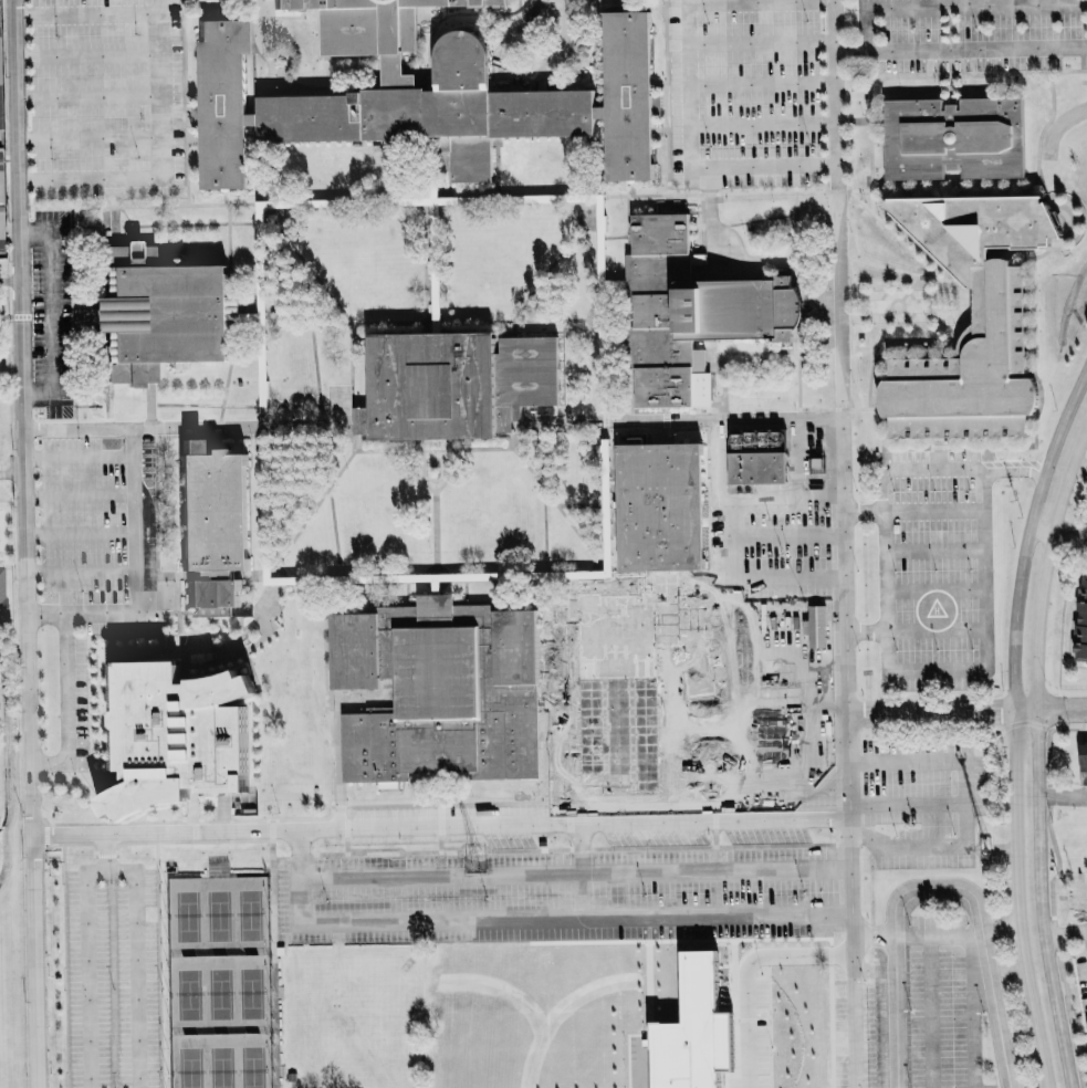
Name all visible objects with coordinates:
road: (741, 1)
road: (954, 4)
road: (86, 13)
parking lot: (972, 38)
road: (760, 41)
road: (961, 49)
road: (87, 55)
road: (835, 81)
building: (411, 94)
parking lot: (751, 95)
road: (88, 96)
parking lot: (105, 102)
building: (0, 106)
road: (90, 136)
building: (952, 137)
building: (0, 153)
road: (688, 157)
road: (161, 158)
building: (0, 187)
building: (1, 228)
road: (10, 280)
building: (697, 310)
building: (161, 312)
road: (56, 314)
building: (971, 368)
building: (456, 384)
road: (159, 428)
building: (757, 440)
road: (1084, 465)
building: (757, 468)
road: (930, 478)
road: (931, 511)
building: (213, 527)
road: (134, 533)
road: (1060, 537)
road: (787, 542)
road: (25, 543)
road: (932, 550)
parking lot: (936, 572)
road: (788, 583)
road: (880, 589)
building: (2, 594)
road: (730, 604)
helipad: (934, 608)
road: (984, 609)
building: (1081, 623)
road: (790, 627)
parking lot: (103, 629)
building: (644, 634)
parking lot: (776, 659)
road: (791, 673)
building: (680, 687)
building: (440, 690)
road: (65, 701)
road: (792, 710)
road: (1049, 710)
road: (932, 713)
road: (1014, 723)
building: (175, 736)
road: (850, 750)
road: (793, 753)
building: (1083, 757)
road: (1039, 765)
road: (1063, 794)
parking lot: (929, 798)
road: (908, 804)
road: (964, 805)
road: (441, 826)
power tower: (984, 847)
power tower: (475, 862)
road: (579, 868)
road: (814, 909)
road: (1086, 928)
road: (985, 929)
road: (1003, 929)
road: (1068, 931)
road: (874, 939)
road: (135, 948)
road: (88, 969)
road: (746, 971)
parking lot: (942, 1005)
road: (893, 1014)
parking lot: (859, 1024)
building: (690, 1031)
building: (727, 1042)

